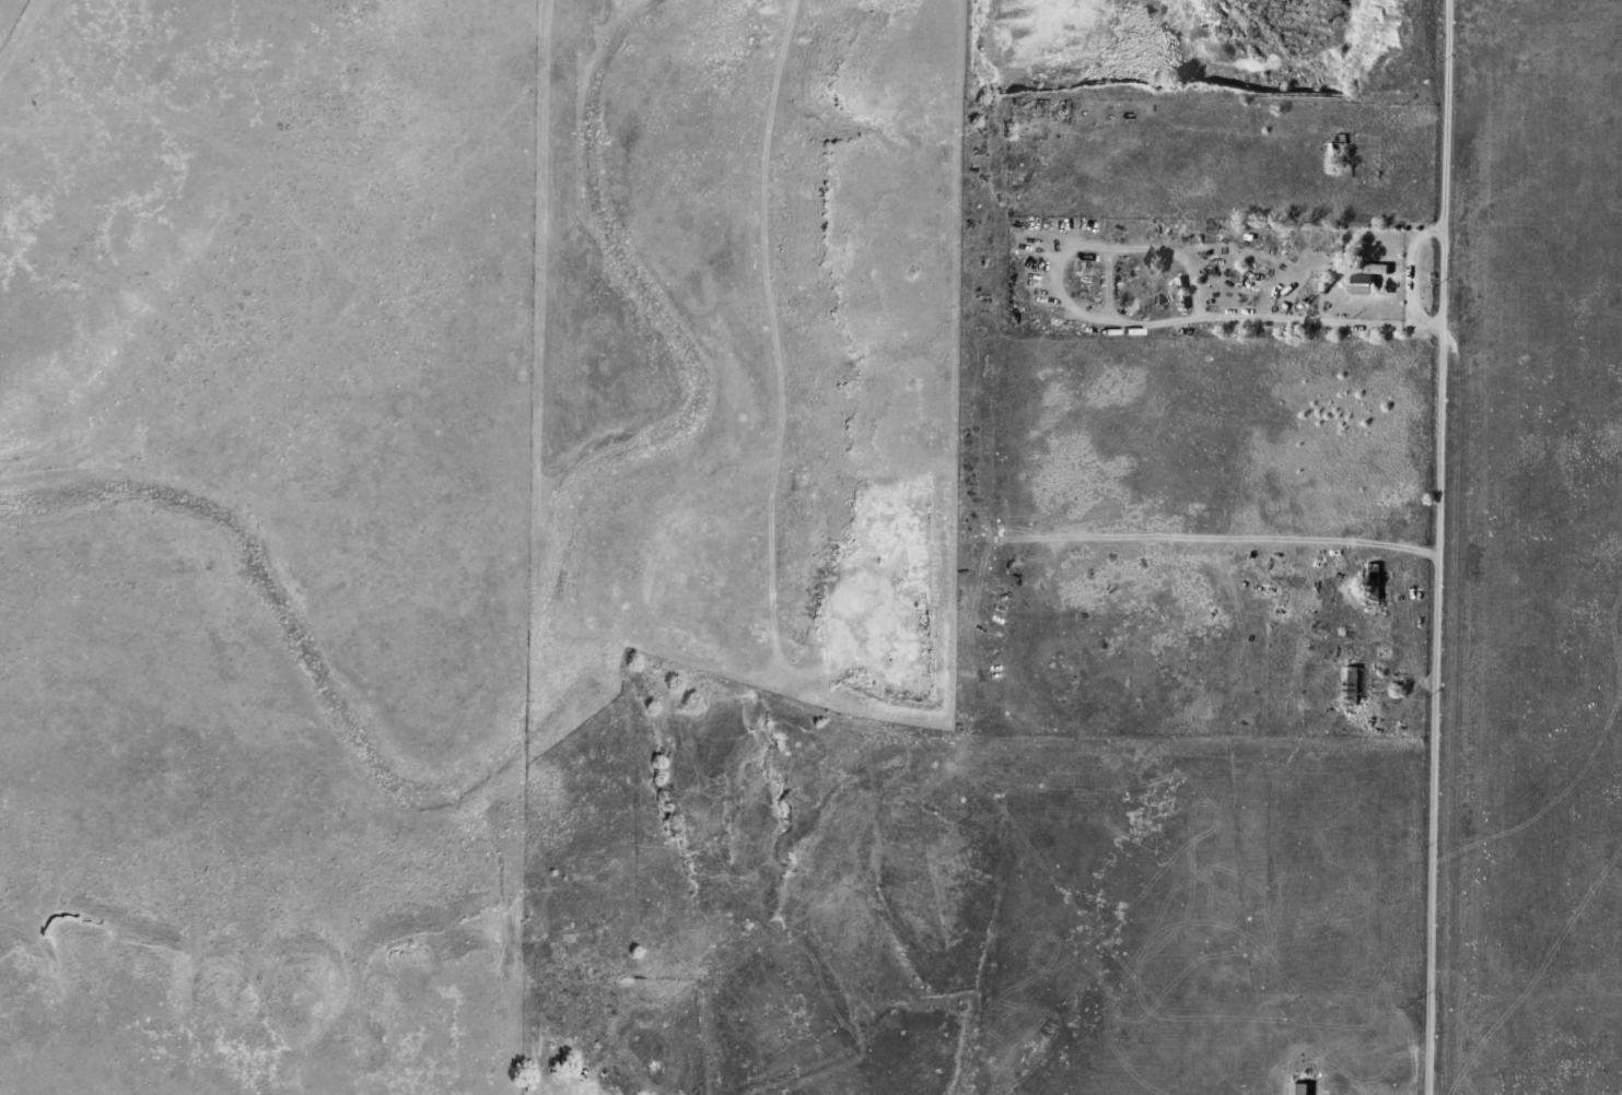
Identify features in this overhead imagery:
building: (1370, 276)
road: (1463, 547)

